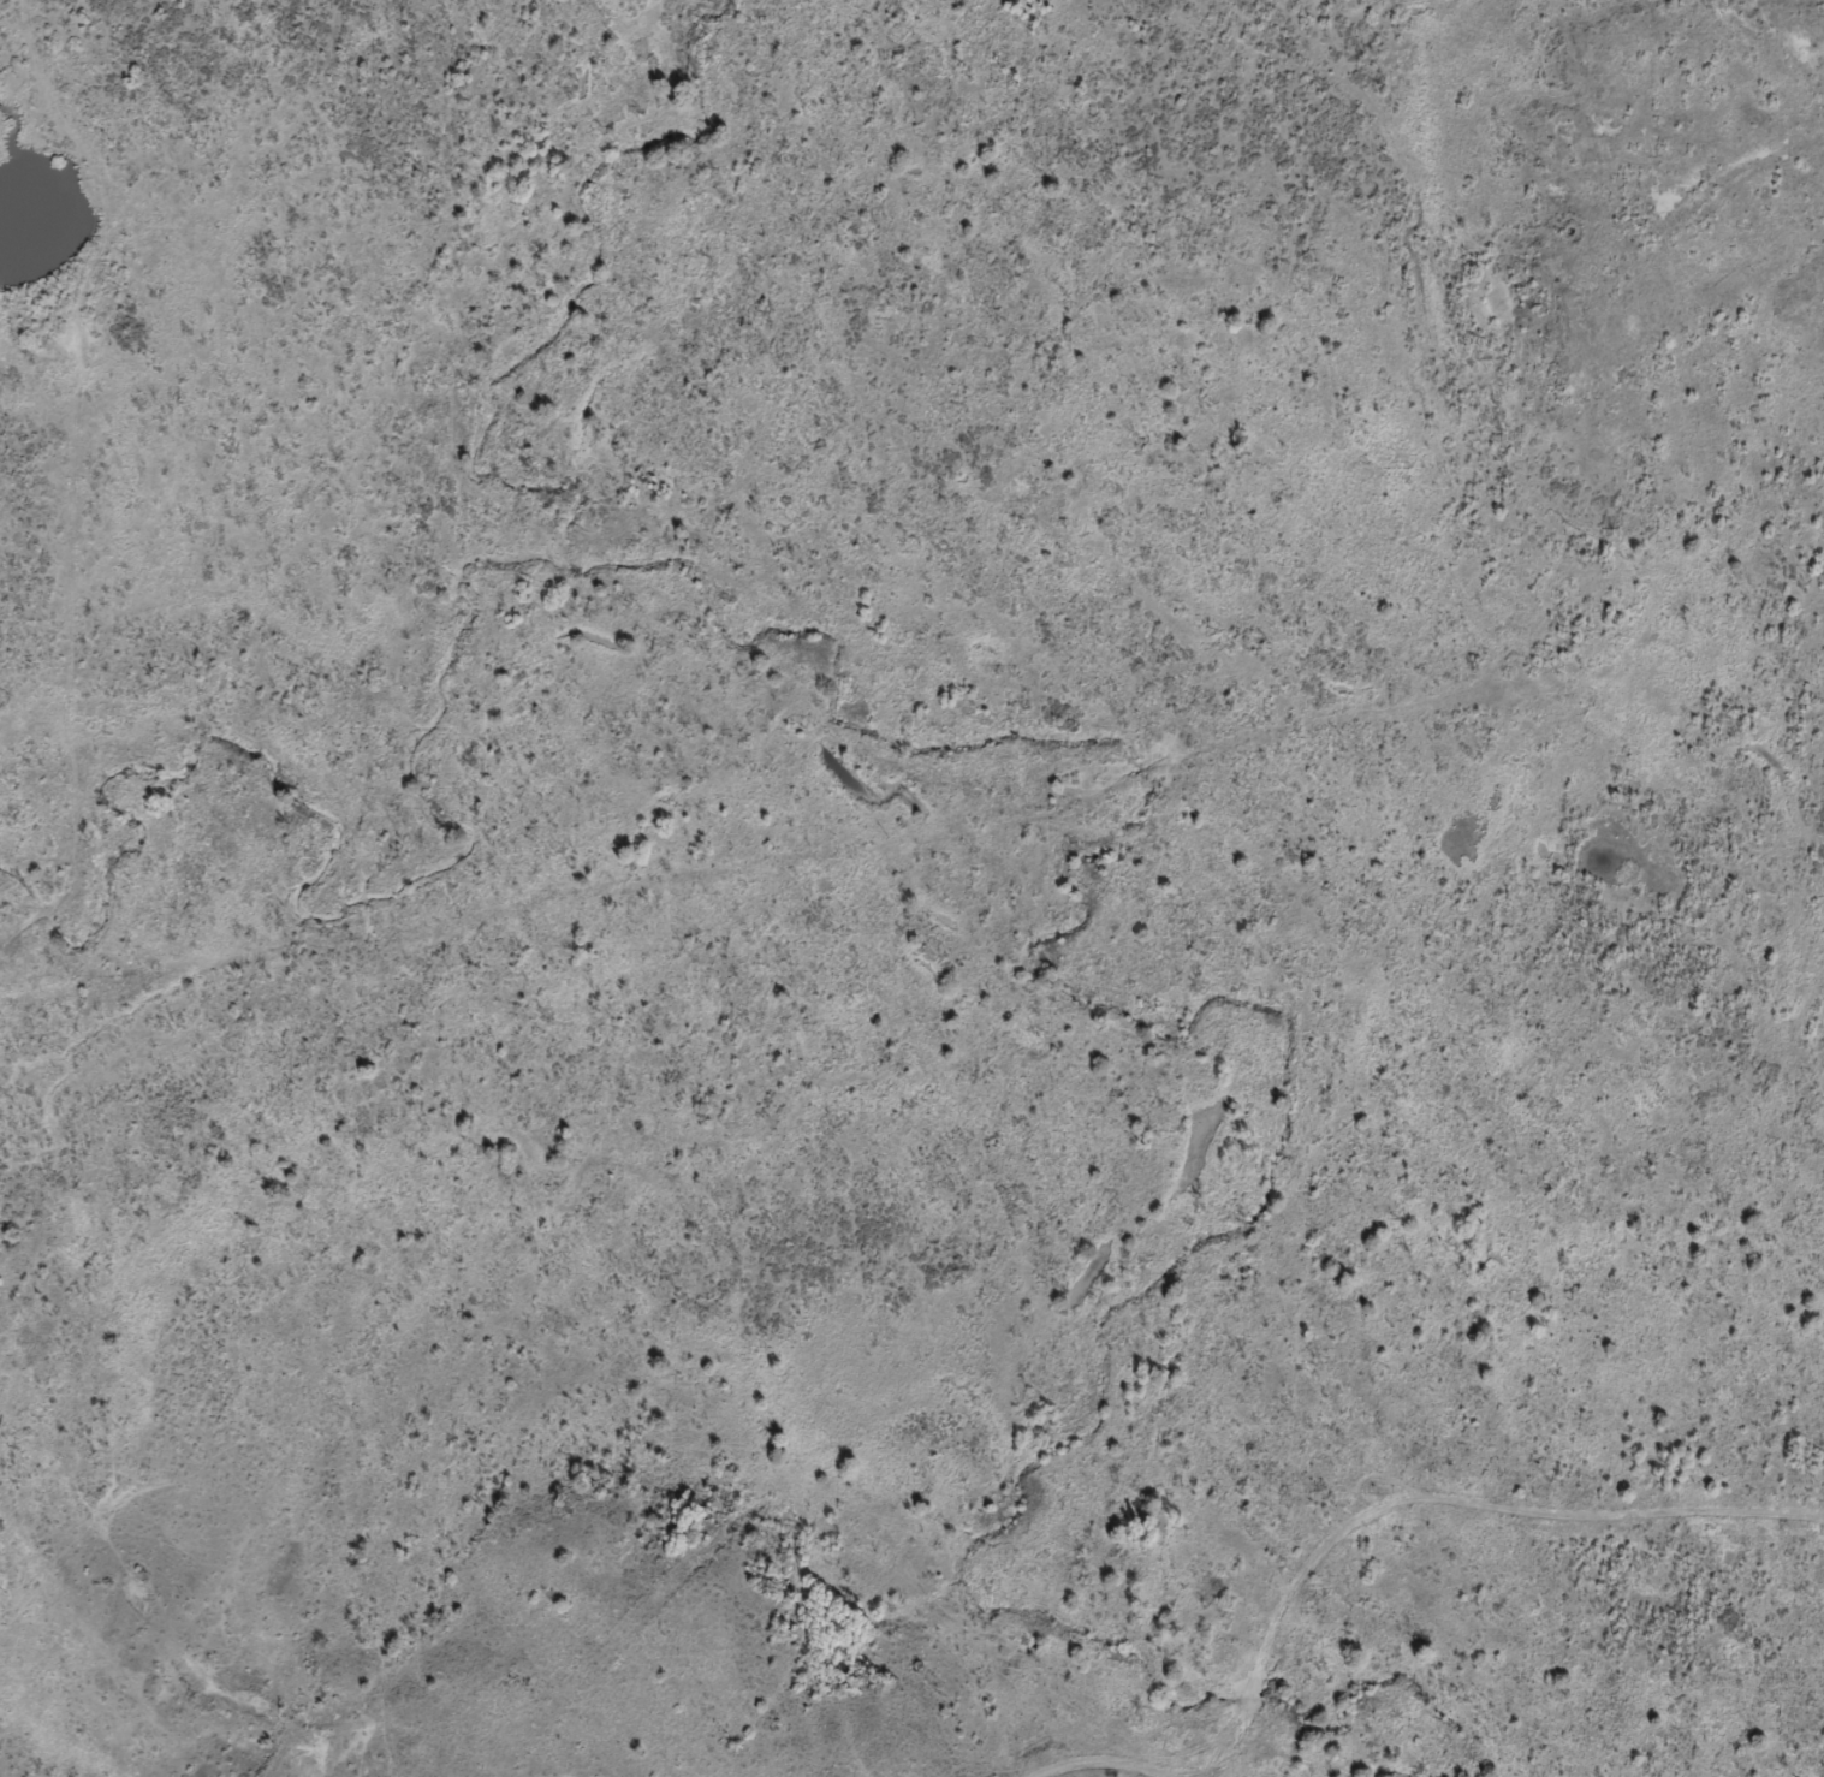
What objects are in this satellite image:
road: (1735, 174)
road: (897, 845)

